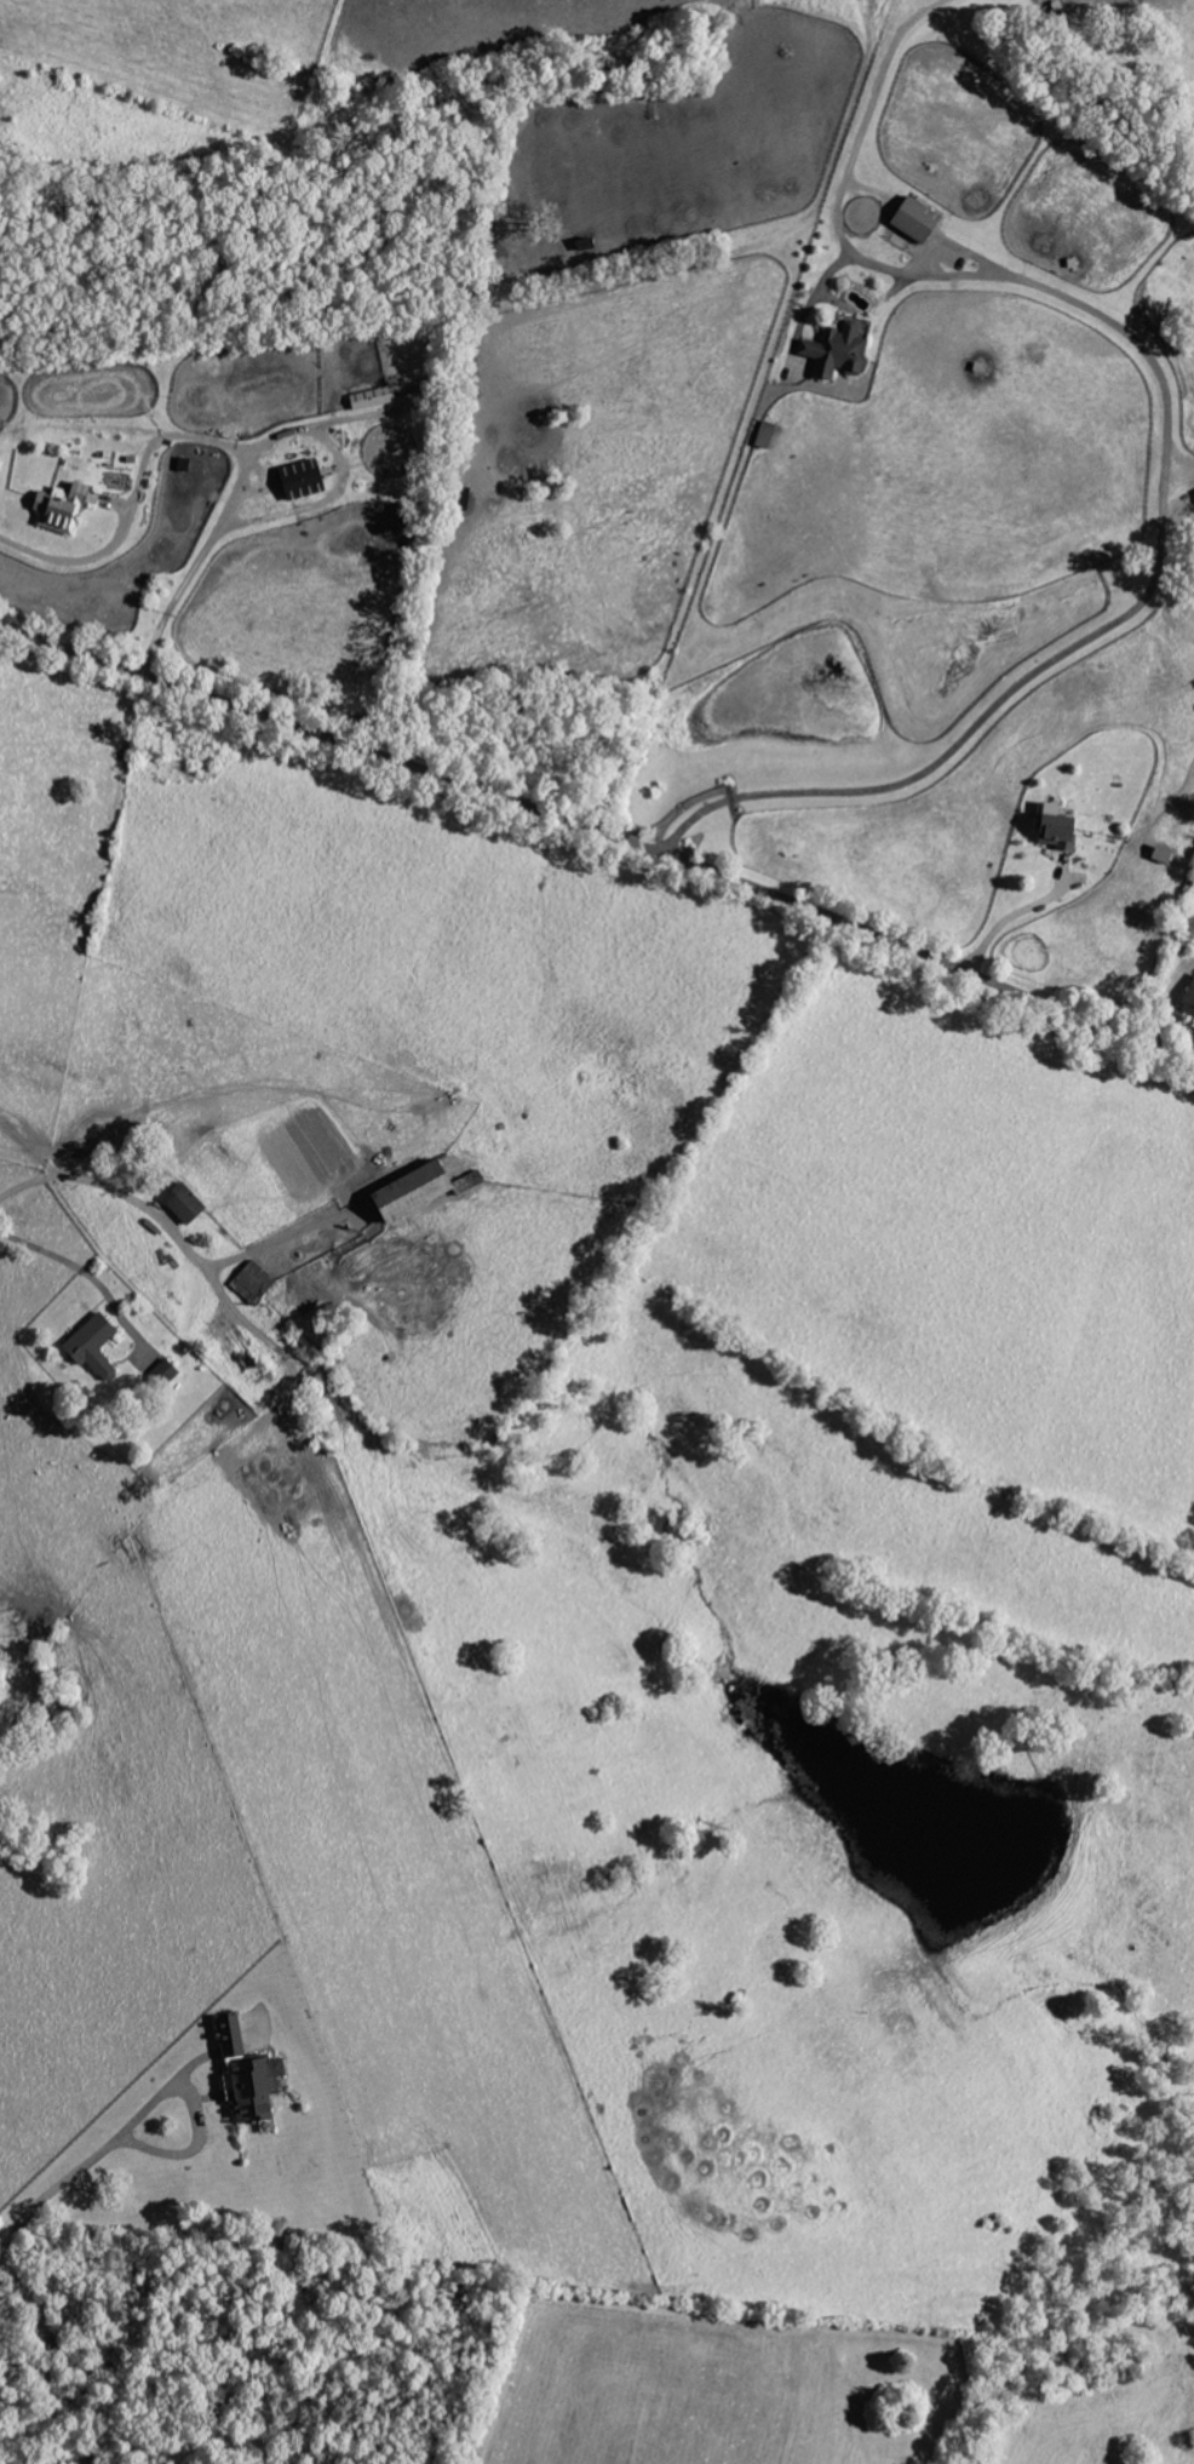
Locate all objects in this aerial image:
building: (912, 219)
building: (834, 353)
road: (203, 440)
road: (1165, 453)
building: (297, 481)
building: (59, 510)
road: (601, 830)
building: (1054, 830)
building: (1159, 855)
road: (1011, 915)
building: (1187, 1002)
building: (403, 1192)
building: (182, 1203)
road: (177, 1233)
road: (62, 1260)
building: (253, 1279)
building: (90, 1347)
building: (161, 1374)
building: (243, 2075)
road: (197, 2114)
road: (53, 2193)

